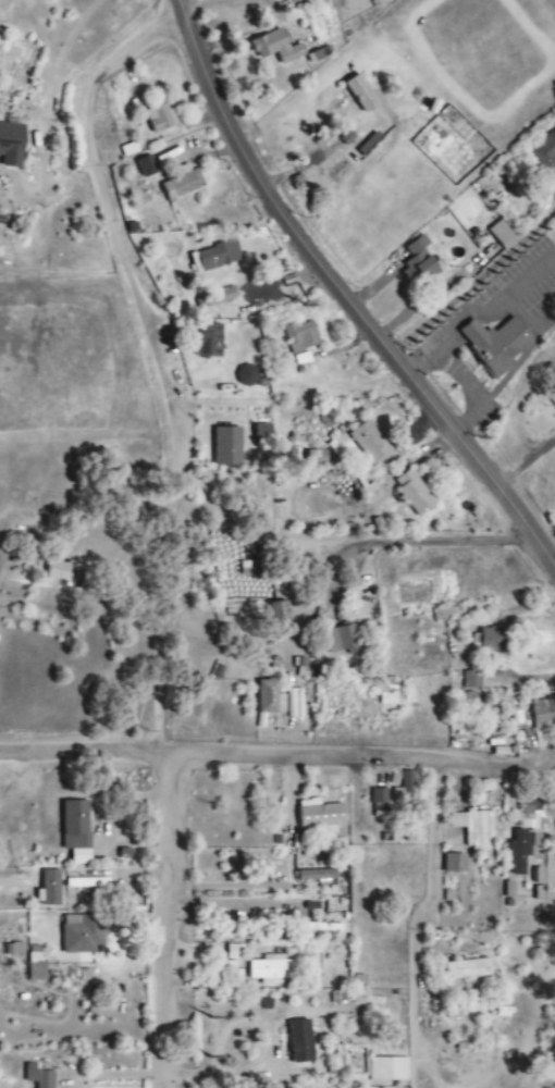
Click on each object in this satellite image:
building: (276, 47)
building: (319, 54)
building: (161, 119)
building: (12, 145)
building: (545, 151)
building: (147, 166)
building: (184, 184)
building: (499, 234)
building: (217, 257)
building: (420, 260)
building: (220, 297)
road: (344, 298)
building: (301, 336)
building: (210, 341)
building: (497, 344)
building: (553, 399)
building: (263, 433)
building: (372, 444)
building: (229, 447)
building: (416, 494)
road: (140, 527)
road: (427, 541)
building: (67, 572)
building: (345, 639)
building: (492, 641)
building: (305, 668)
building: (472, 680)
building: (271, 698)
building: (544, 714)
road: (277, 756)
building: (379, 800)
building: (323, 817)
building: (474, 829)
building: (76, 831)
building: (525, 841)
building: (456, 864)
building: (317, 876)
building: (85, 883)
building: (540, 885)
building: (49, 889)
road: (230, 901)
road: (429, 907)
building: (83, 935)
building: (13, 950)
building: (234, 952)
building: (37, 968)
building: (471, 969)
building: (270, 970)
building: (303, 1042)
building: (388, 1071)
building: (39, 1077)

